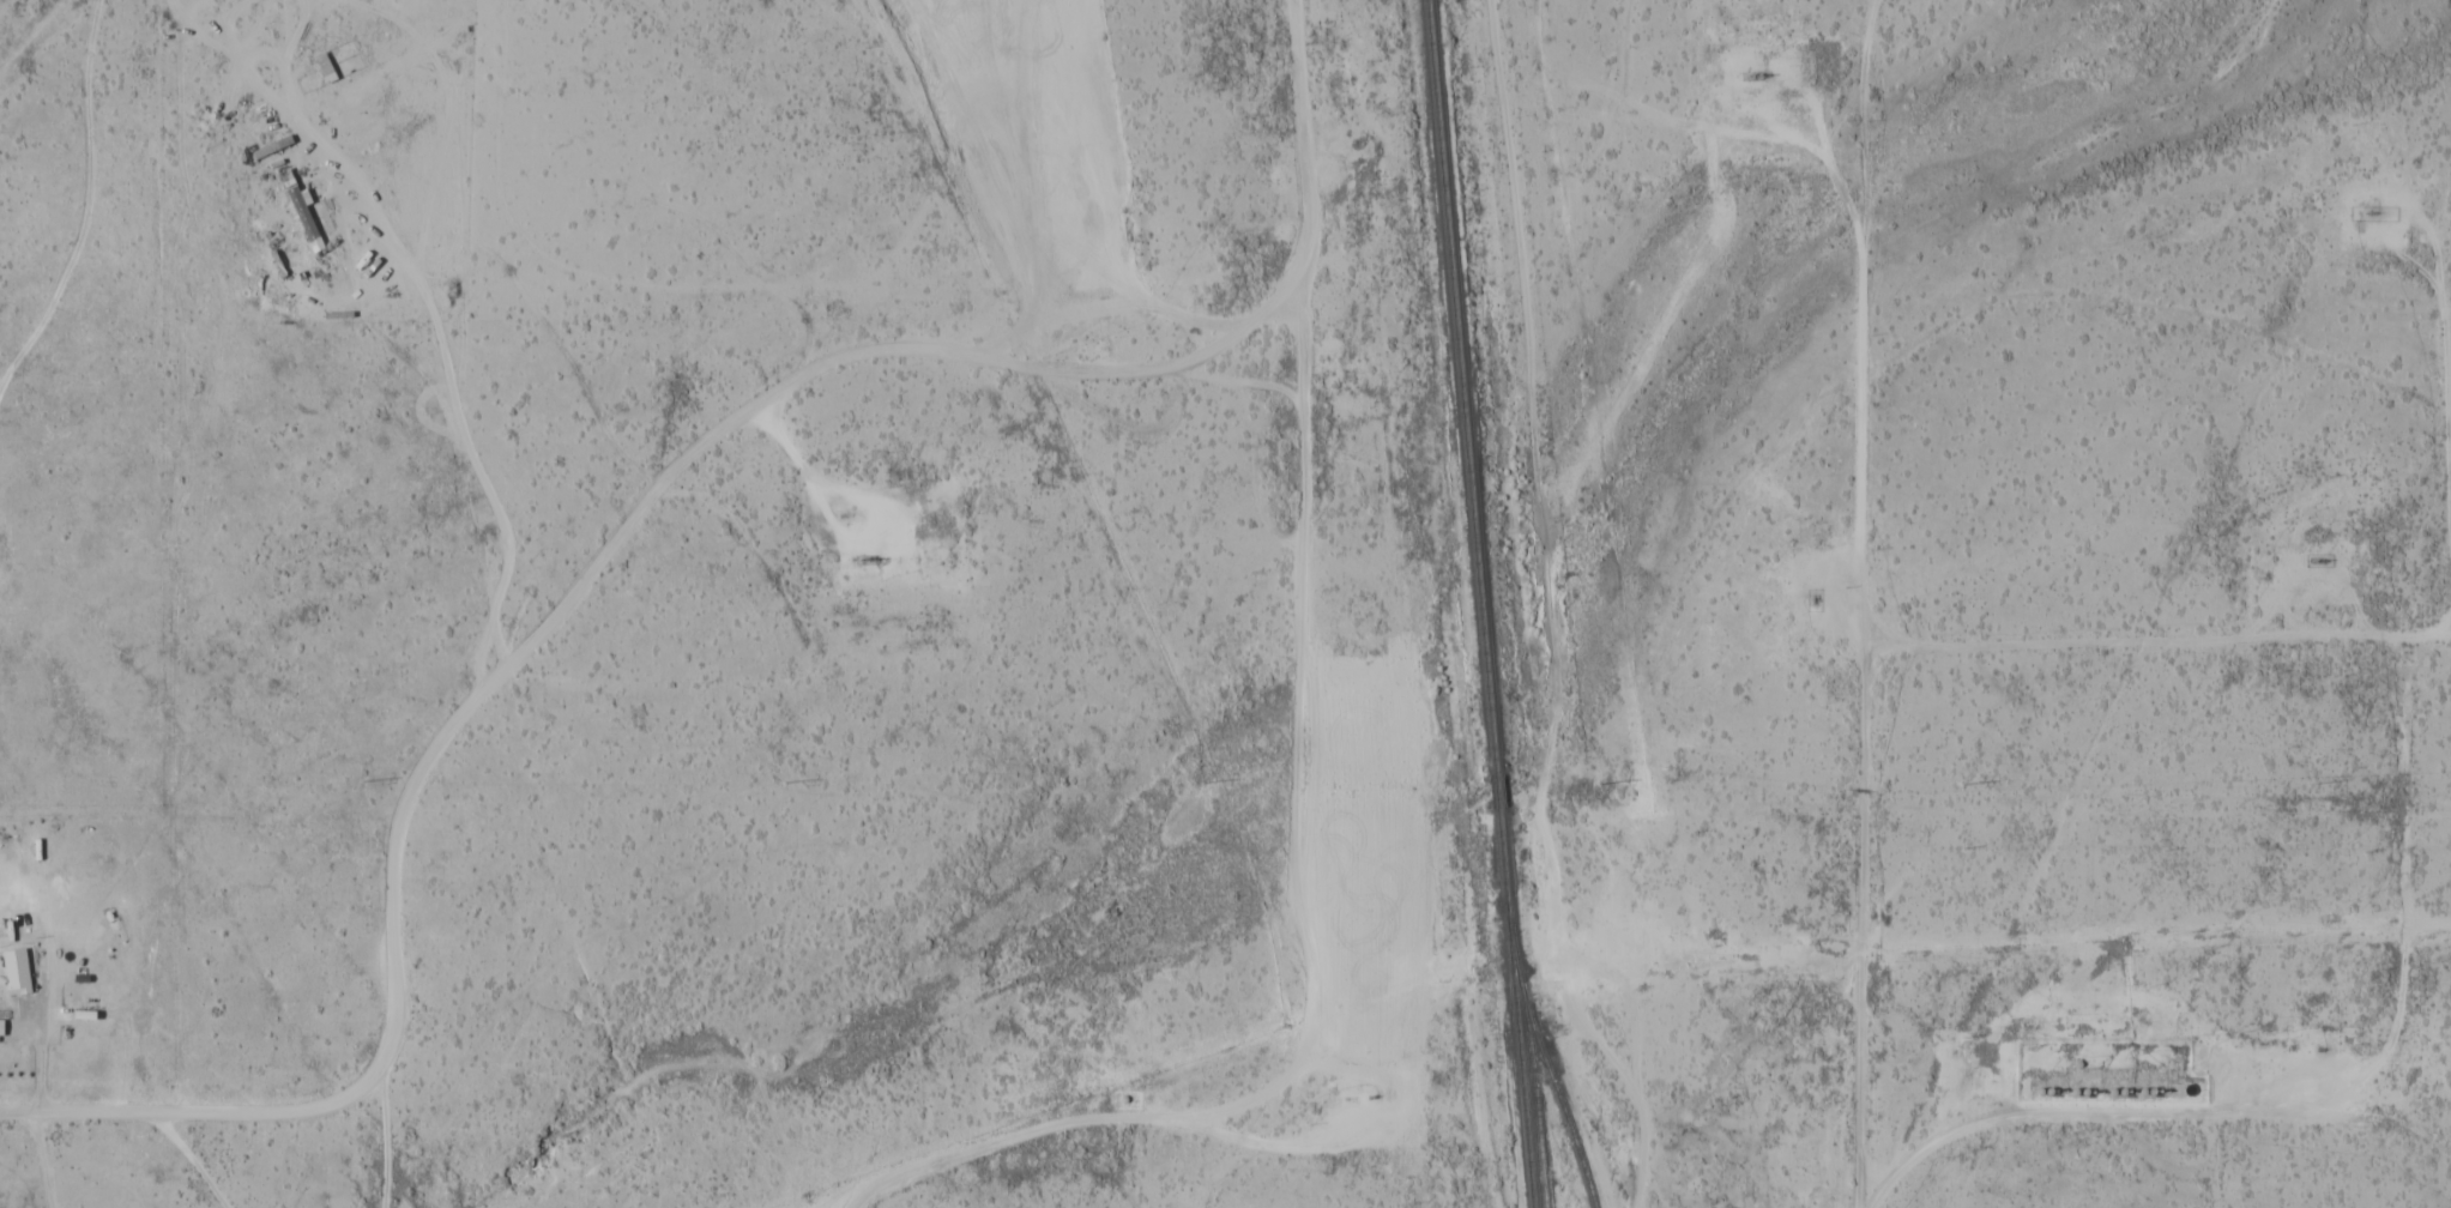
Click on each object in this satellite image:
road: (1822, 119)
road: (1304, 187)
road: (2444, 300)
railway: (1457, 386)
road: (789, 466)
road: (489, 477)
road: (2139, 642)
road: (508, 654)
road: (1865, 717)
railway: (1493, 792)
road: (2403, 860)
road: (1297, 913)
road: (2427, 925)
building: (17, 971)
railway: (1513, 1008)
building: (1, 1026)
road: (1618, 1064)
railway: (1543, 1065)
road: (1386, 1074)
road: (2154, 1109)
road: (2151, 1154)
road: (2215, 1159)
road: (850, 1203)

